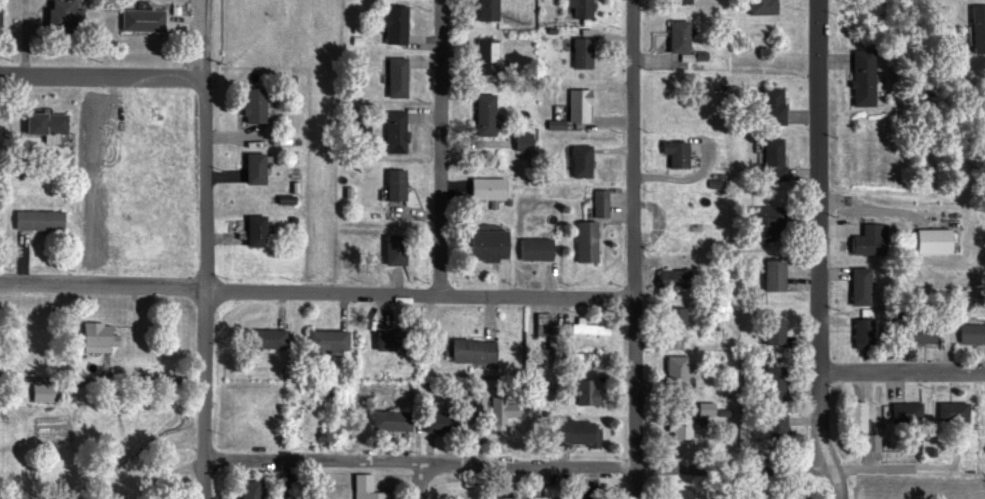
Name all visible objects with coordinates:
building: (675, 2)
building: (757, 7)
building: (575, 9)
building: (484, 10)
building: (61, 13)
building: (139, 20)
building: (392, 25)
building: (976, 29)
building: (674, 37)
building: (579, 54)
building: (484, 57)
road: (105, 78)
building: (393, 78)
building: (859, 79)
building: (771, 98)
building: (250, 105)
building: (575, 106)
building: (481, 115)
building: (358, 125)
building: (42, 126)
building: (393, 132)
road: (434, 147)
building: (672, 154)
building: (773, 158)
building: (578, 162)
building: (248, 168)
building: (390, 185)
building: (484, 189)
building: (598, 203)
building: (766, 220)
building: (35, 221)
building: (250, 231)
building: (875, 234)
building: (583, 242)
building: (484, 246)
road: (207, 249)
building: (533, 249)
road: (634, 249)
building: (390, 250)
road: (816, 252)
road: (829, 257)
building: (775, 270)
building: (668, 280)
building: (861, 283)
road: (317, 290)
building: (776, 322)
building: (671, 325)
building: (924, 326)
building: (866, 328)
building: (588, 330)
building: (969, 334)
building: (95, 338)
building: (263, 340)
building: (324, 342)
building: (383, 343)
building: (469, 351)
building: (584, 357)
road: (901, 366)
building: (674, 374)
building: (771, 387)
building: (584, 393)
building: (904, 413)
building: (949, 413)
building: (852, 418)
building: (386, 421)
building: (441, 424)
building: (676, 430)
building: (772, 430)
building: (575, 433)
road: (311, 457)
road: (728, 461)
road: (850, 465)
road: (691, 467)
road: (421, 479)
building: (359, 487)
building: (246, 489)
building: (584, 491)
building: (876, 491)
building: (678, 495)
building: (499, 498)

